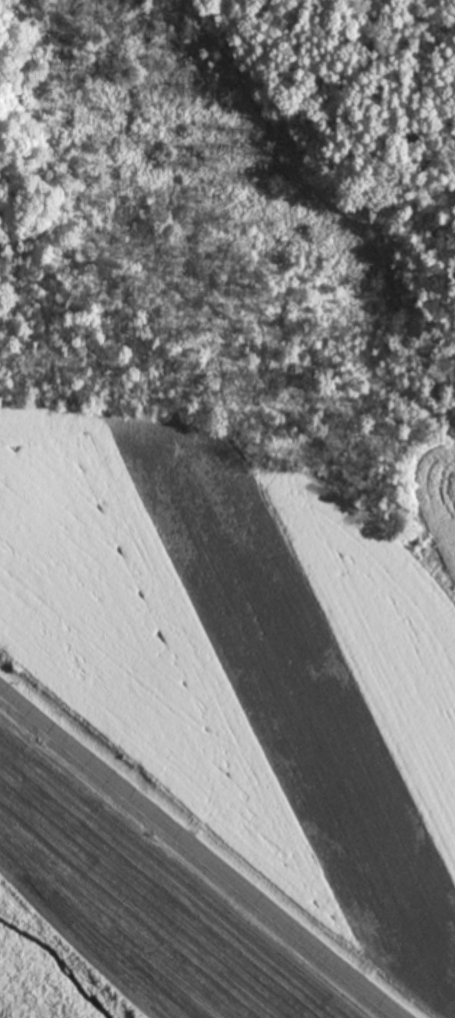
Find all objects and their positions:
road: (200, 853)

